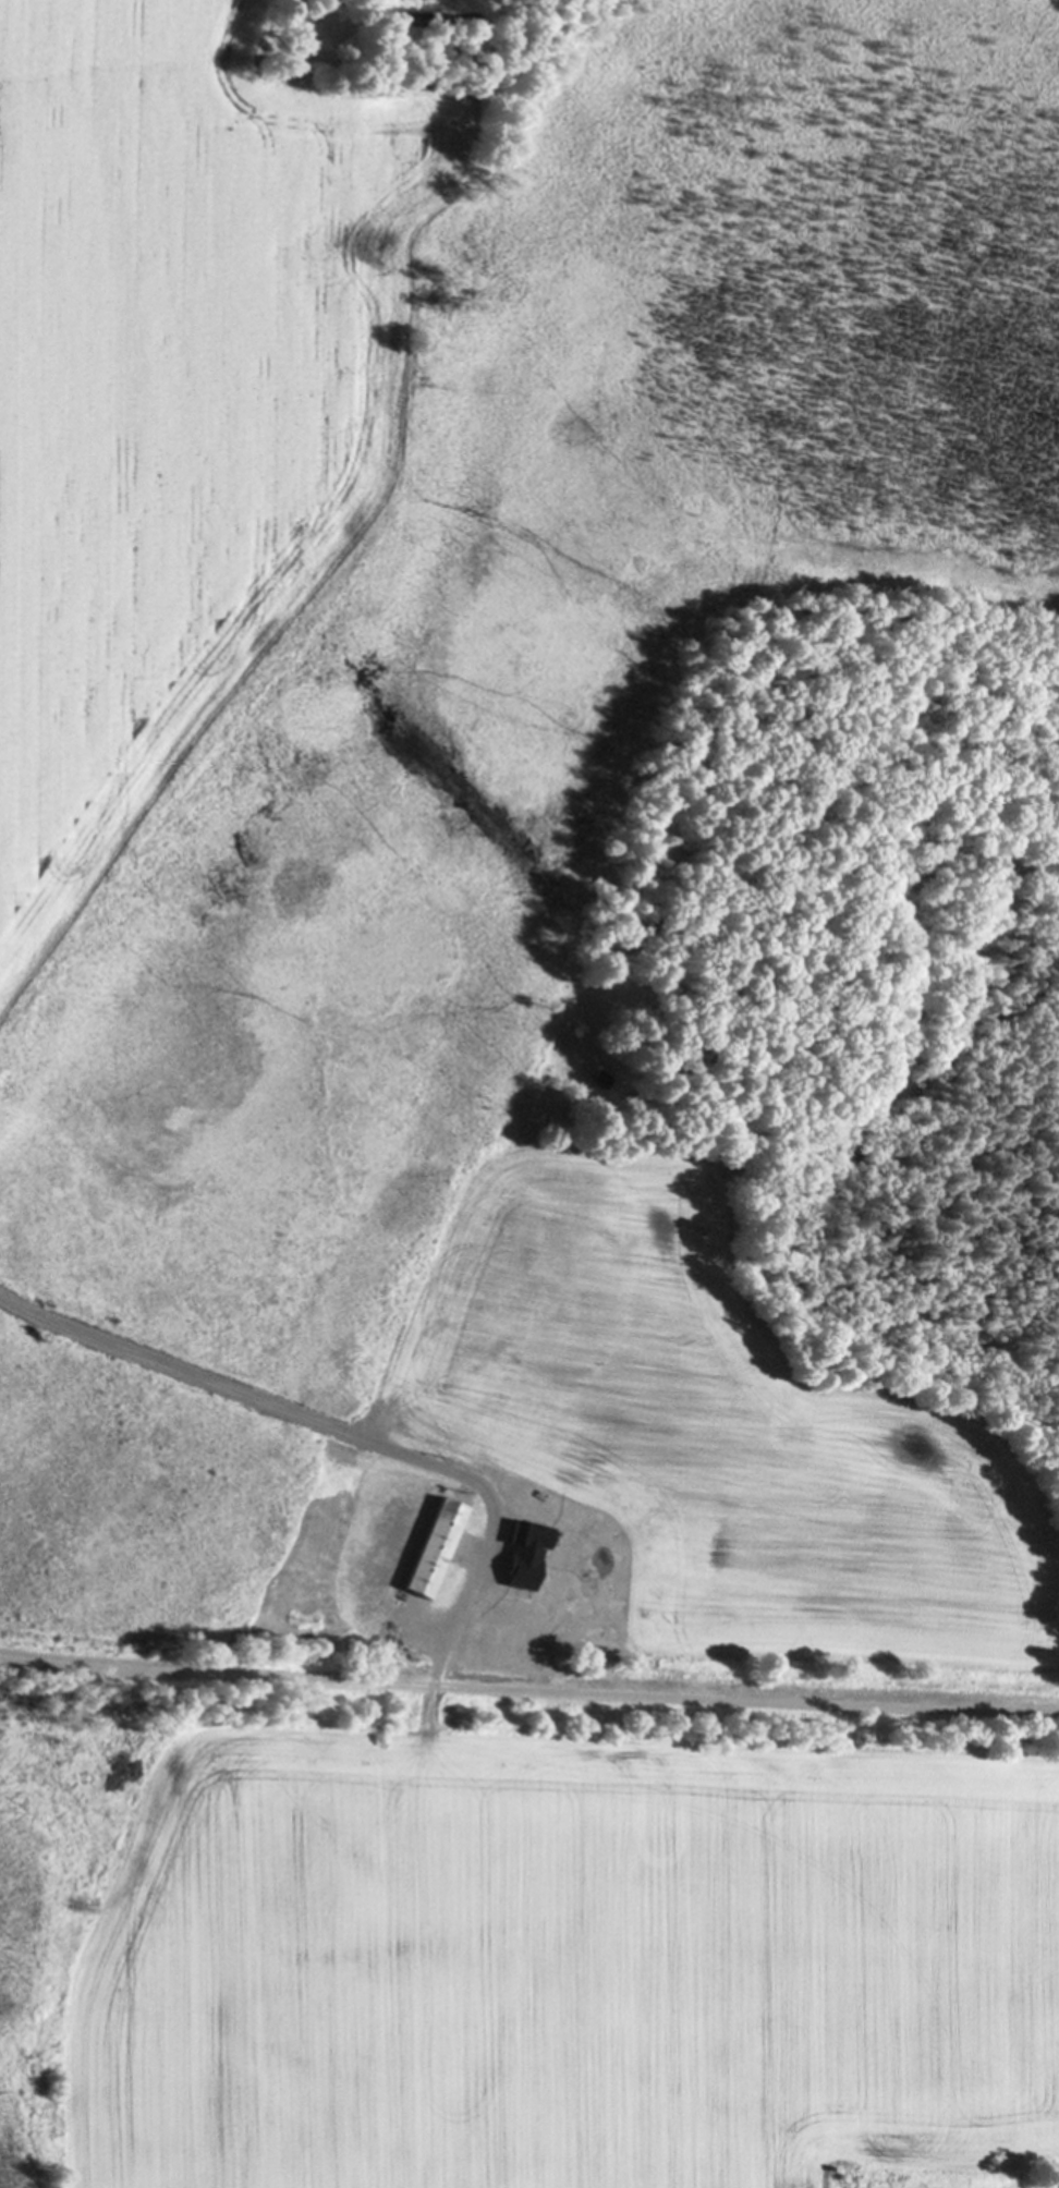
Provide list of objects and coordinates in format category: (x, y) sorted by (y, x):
road: (271, 1402)
building: (389, 1523)
building: (527, 1537)
road: (528, 1689)

